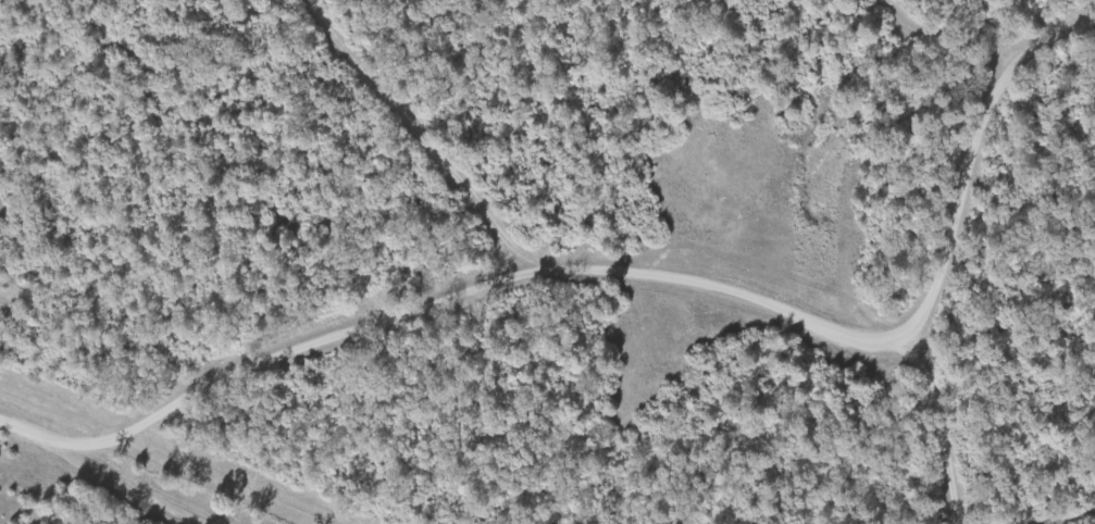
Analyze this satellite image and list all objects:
road: (933, 273)
road: (445, 304)

